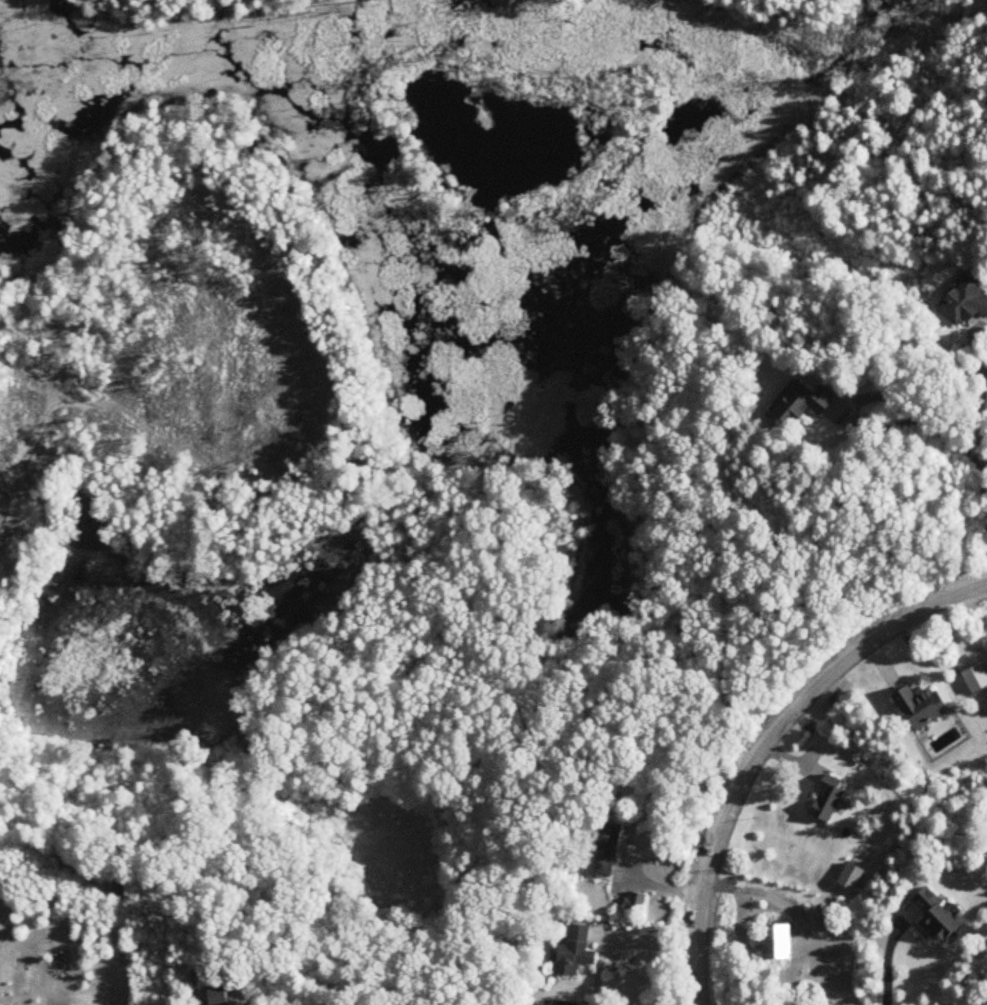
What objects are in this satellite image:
building: (967, 302)
road: (881, 398)
building: (802, 403)
road: (980, 441)
building: (922, 707)
road: (767, 744)
building: (829, 799)
building: (606, 847)
building: (638, 902)
road: (797, 913)
building: (939, 917)
building: (779, 943)
road: (647, 945)
building: (576, 952)
road: (885, 961)
building: (223, 996)
road: (271, 999)
building: (563, 1004)

